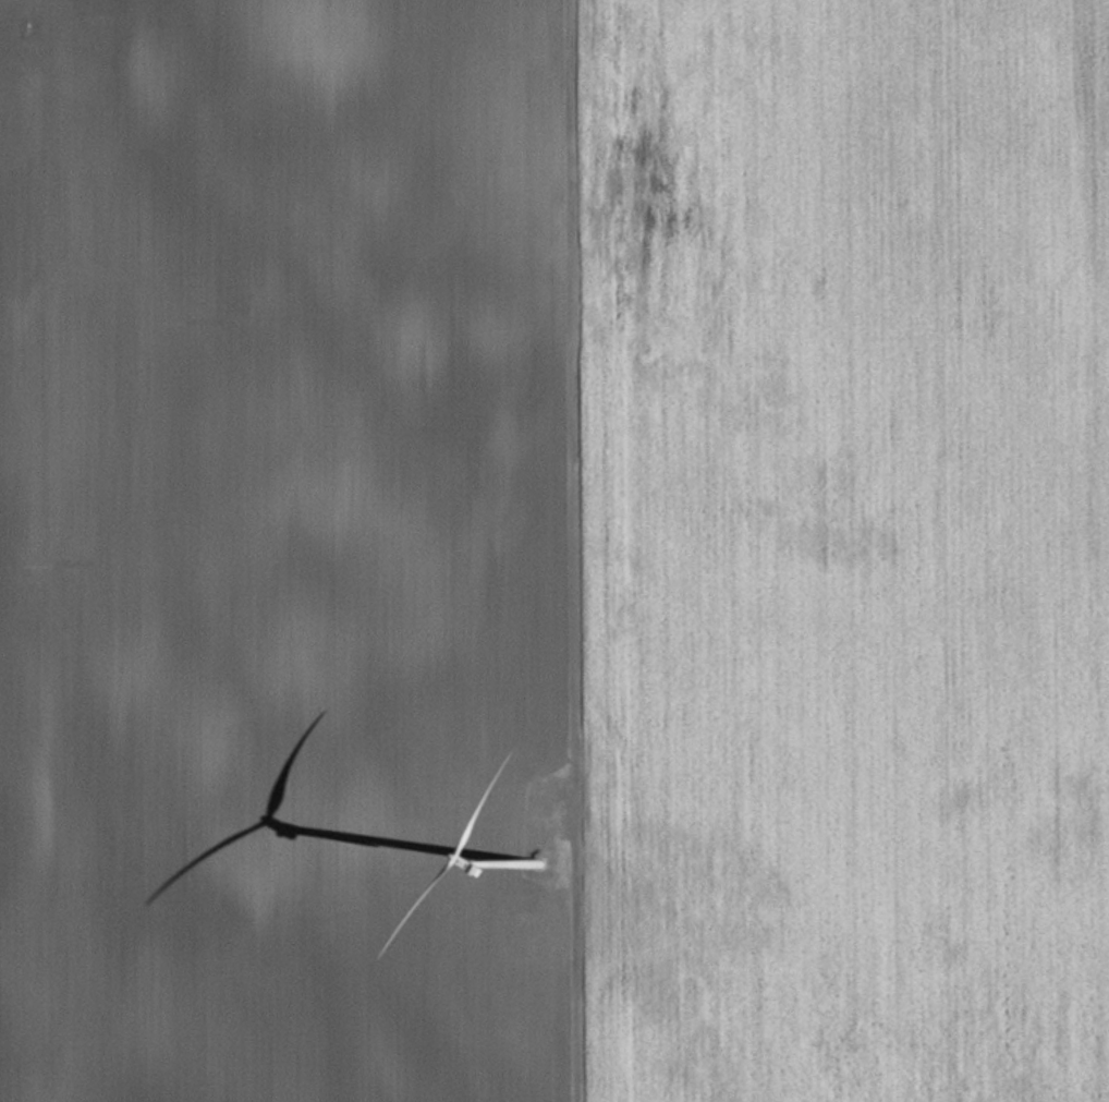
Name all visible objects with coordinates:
road: (580, 550)
wind turbine: (556, 865)

